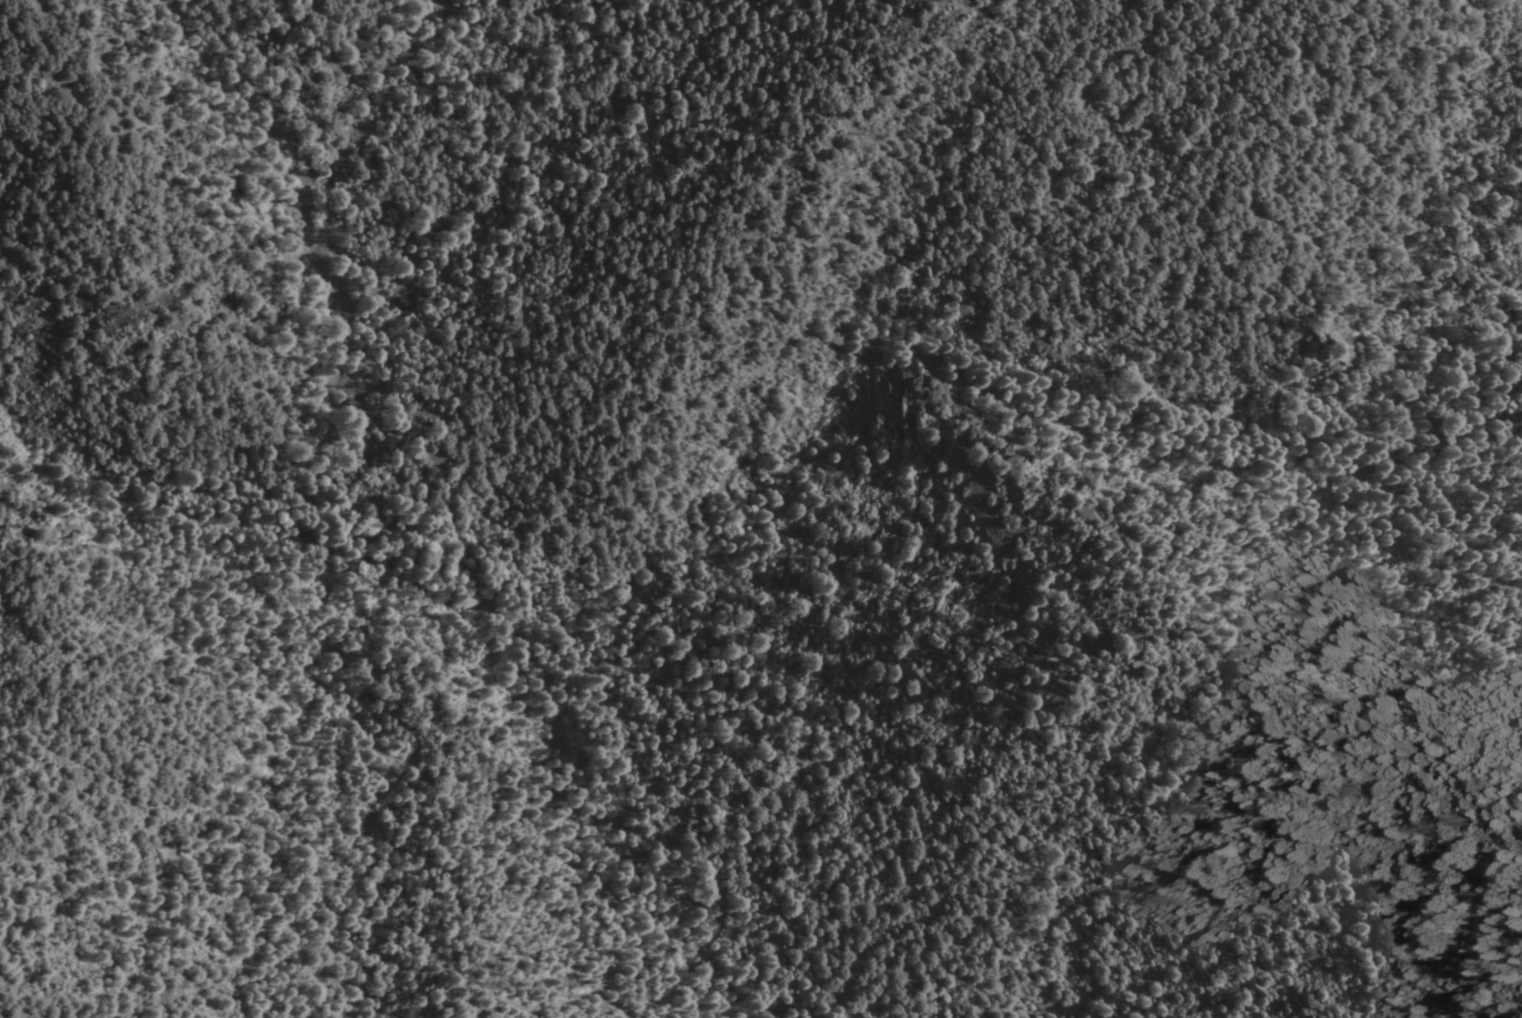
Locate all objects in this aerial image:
road: (451, 614)

